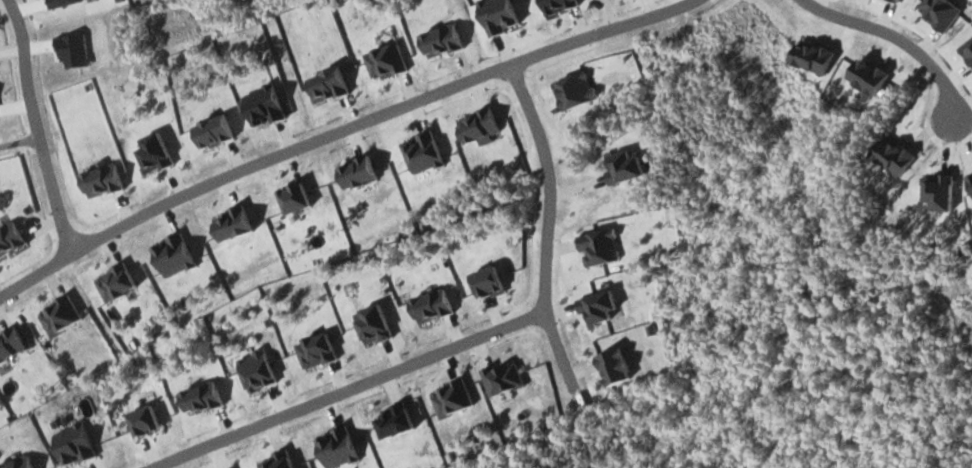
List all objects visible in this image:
road: (890, 35)
road: (33, 128)
road: (328, 132)
road: (533, 228)
road: (334, 390)

